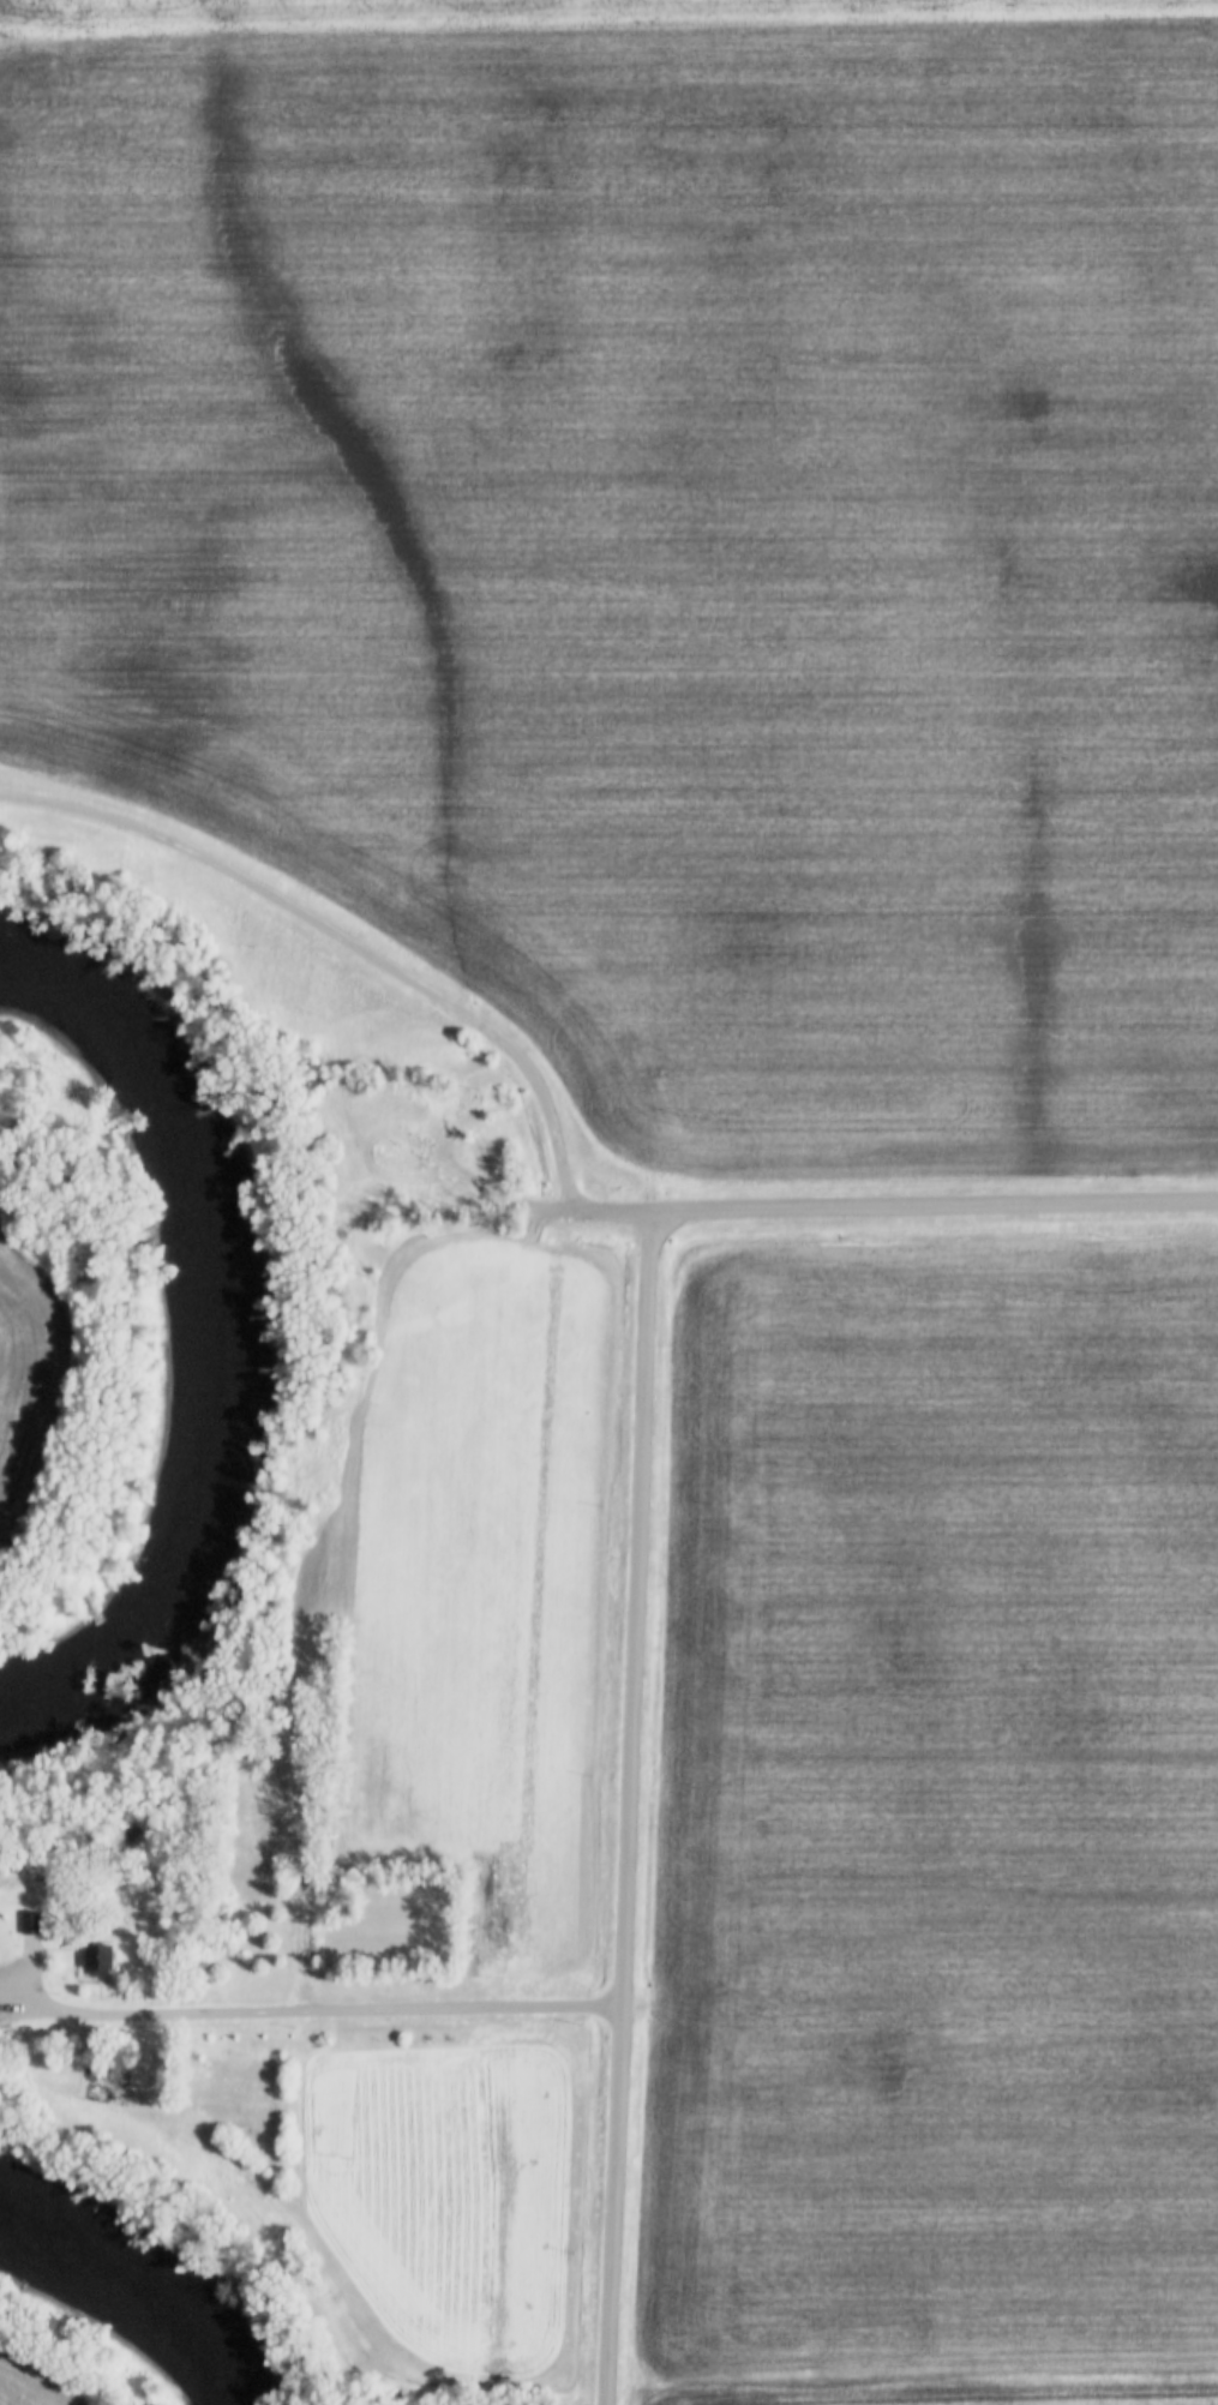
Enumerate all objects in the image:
crop: (526, 10)
crop: (659, 541)
road: (341, 944)
road: (937, 1205)
road: (598, 1211)
road: (1, 1212)
river: (199, 1336)
crop: (485, 1594)
road: (632, 1807)
crop: (938, 1831)
building: (30, 1921)
building: (97, 1957)
road: (326, 2010)
crop: (439, 2189)
river: (114, 2296)

